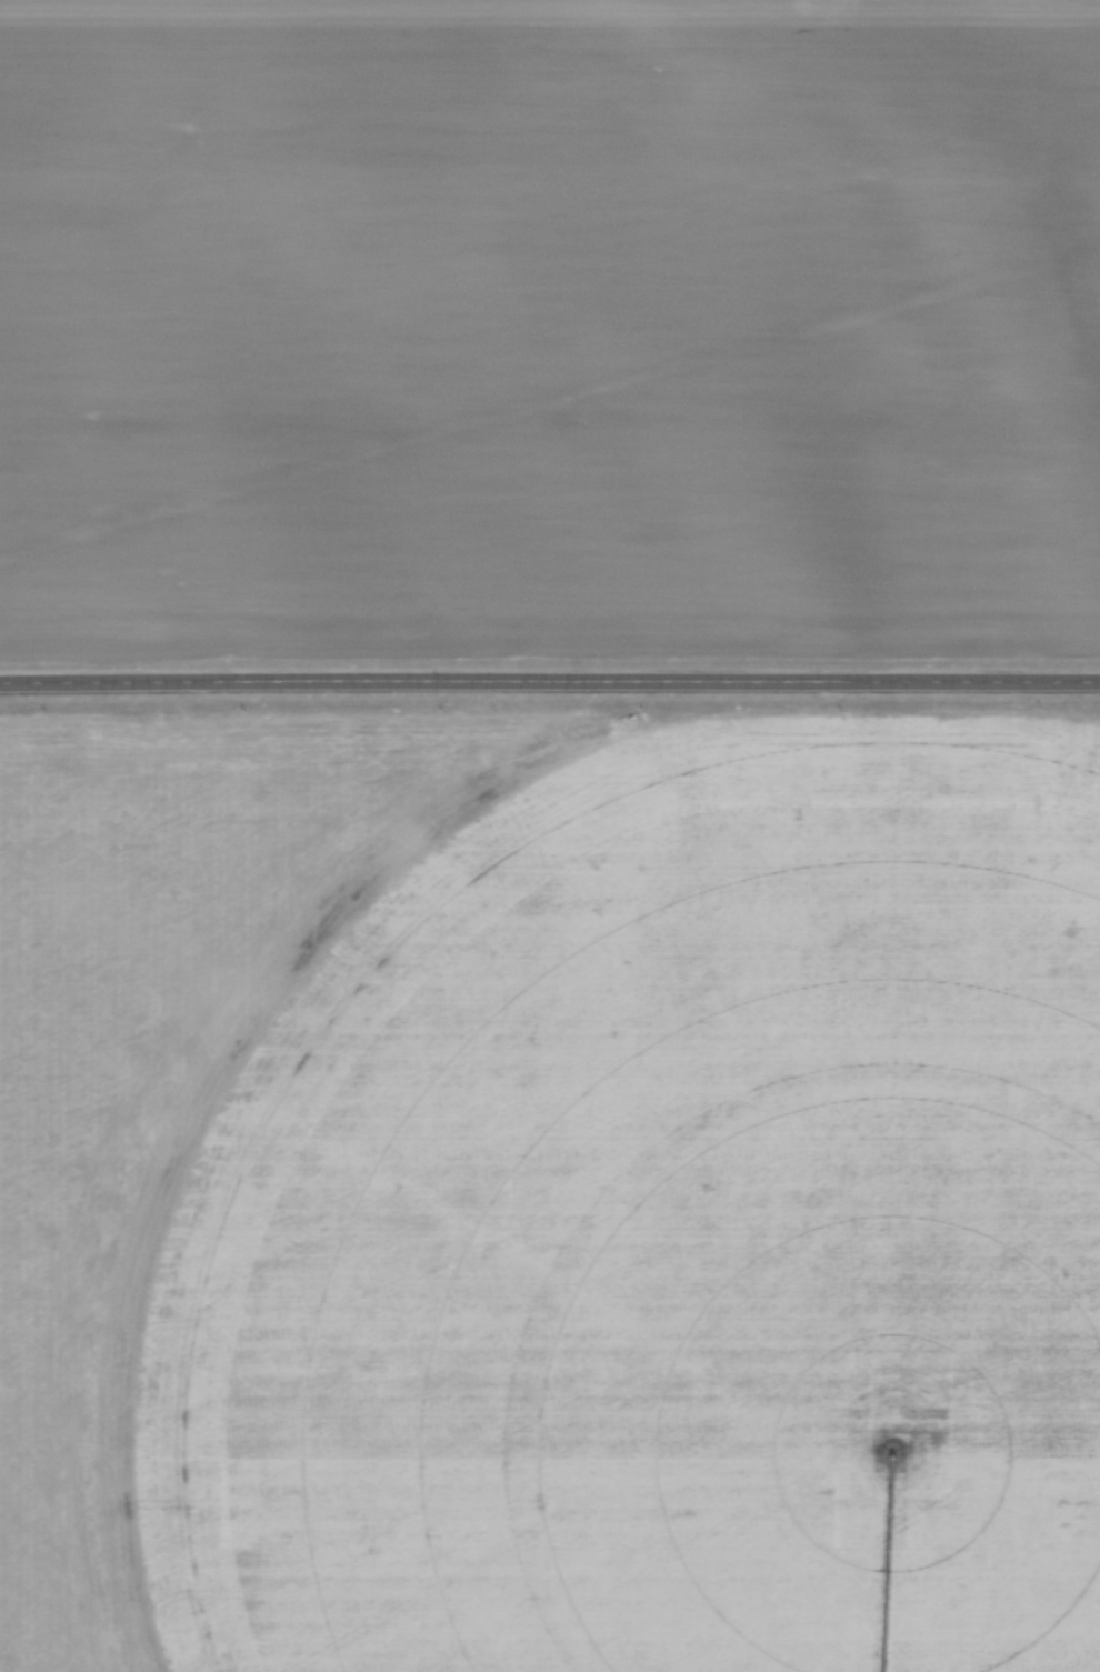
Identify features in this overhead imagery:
crop: (550, 330)
road: (549, 678)
crop: (550, 1192)

